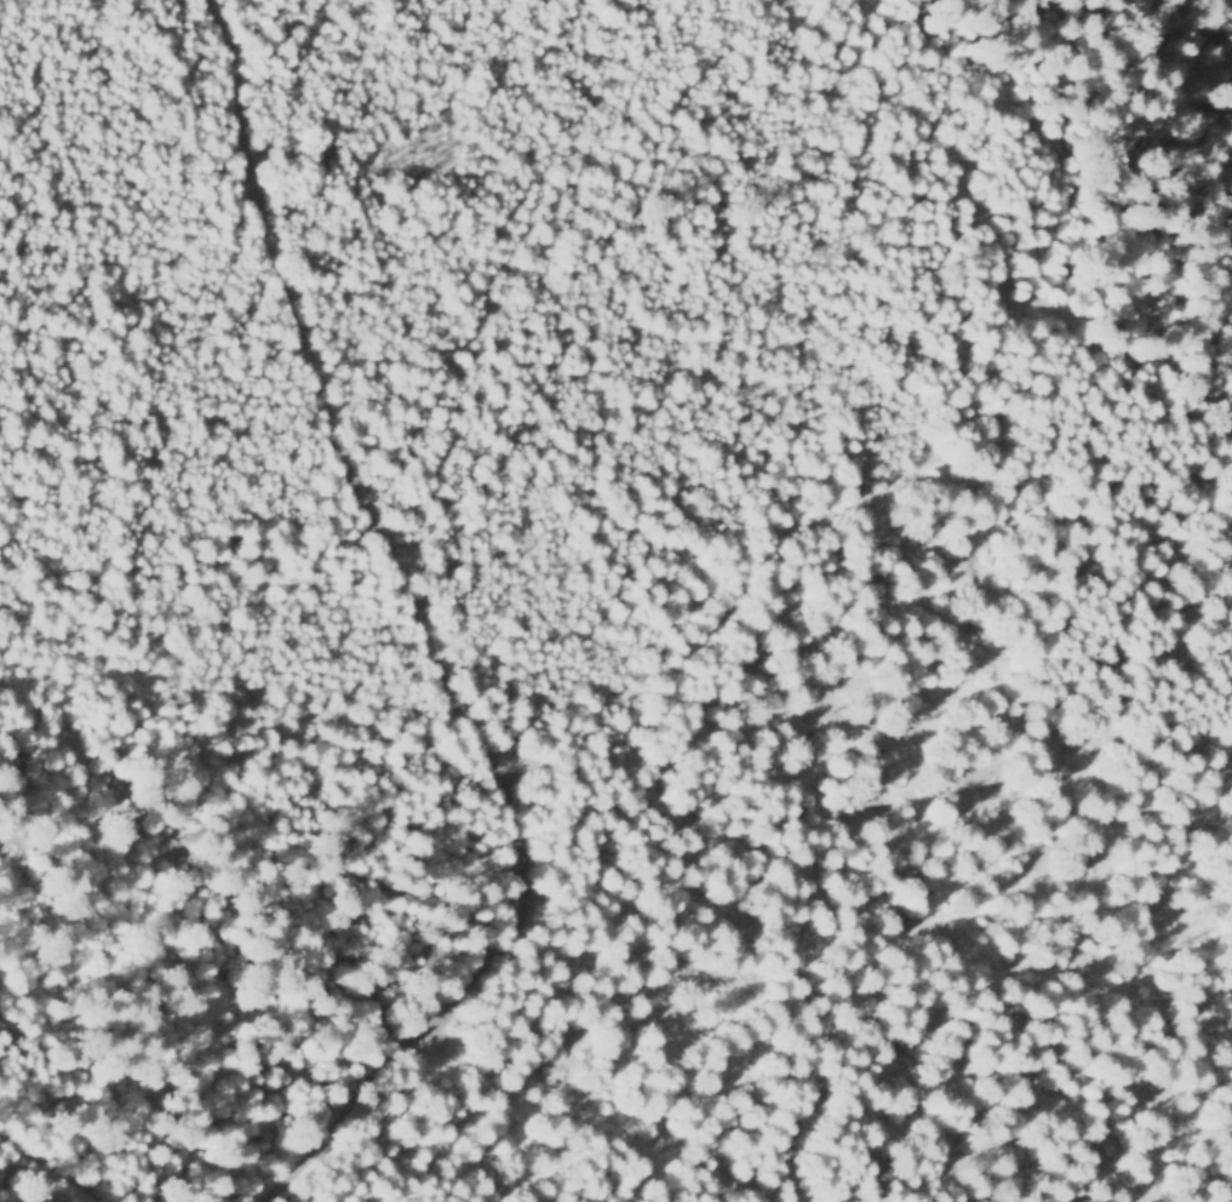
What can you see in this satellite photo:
road: (48, 1172)

